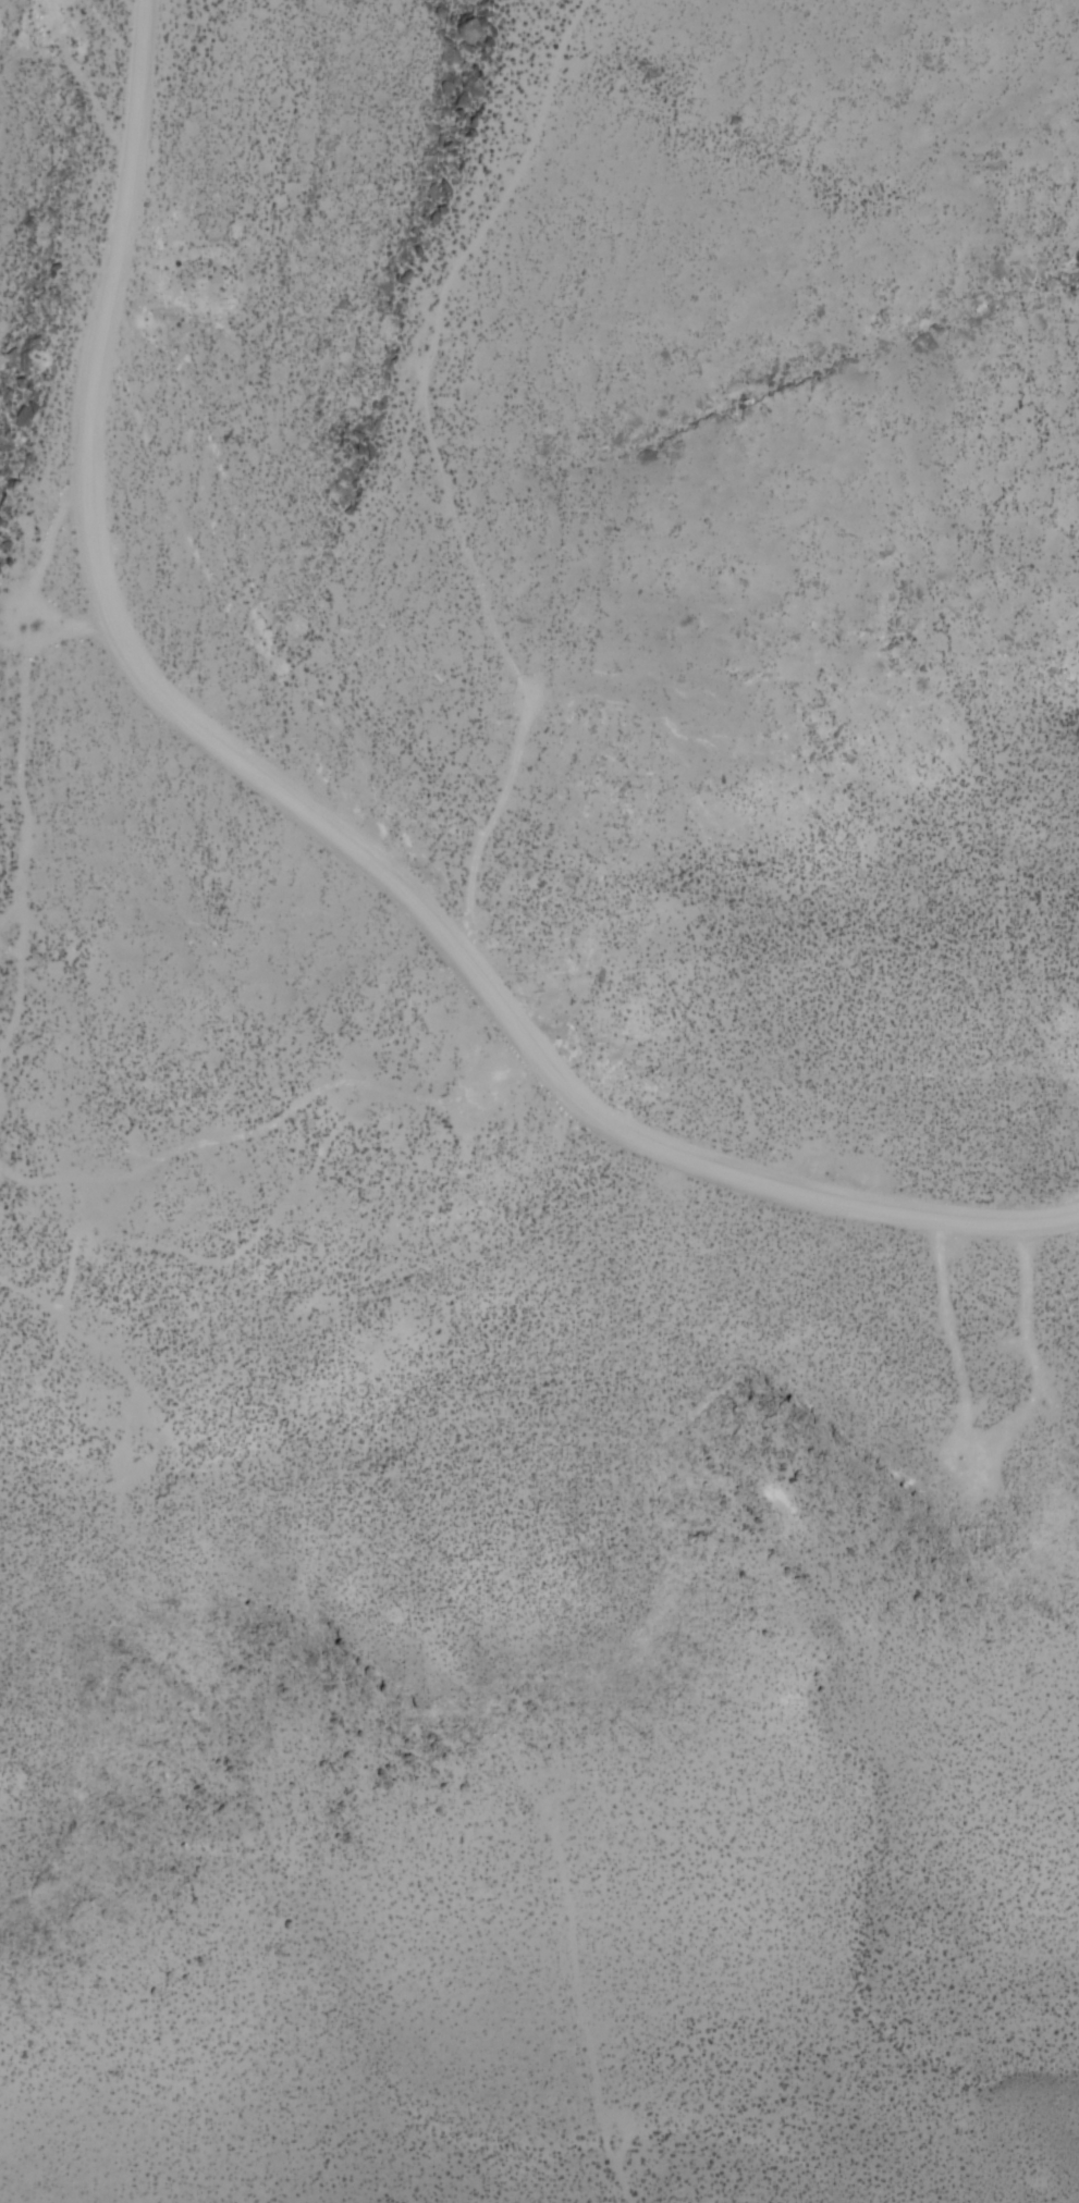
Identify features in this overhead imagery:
road: (437, 467)
road: (14, 751)
road: (315, 812)
road: (279, 1116)
road: (576, 2023)

